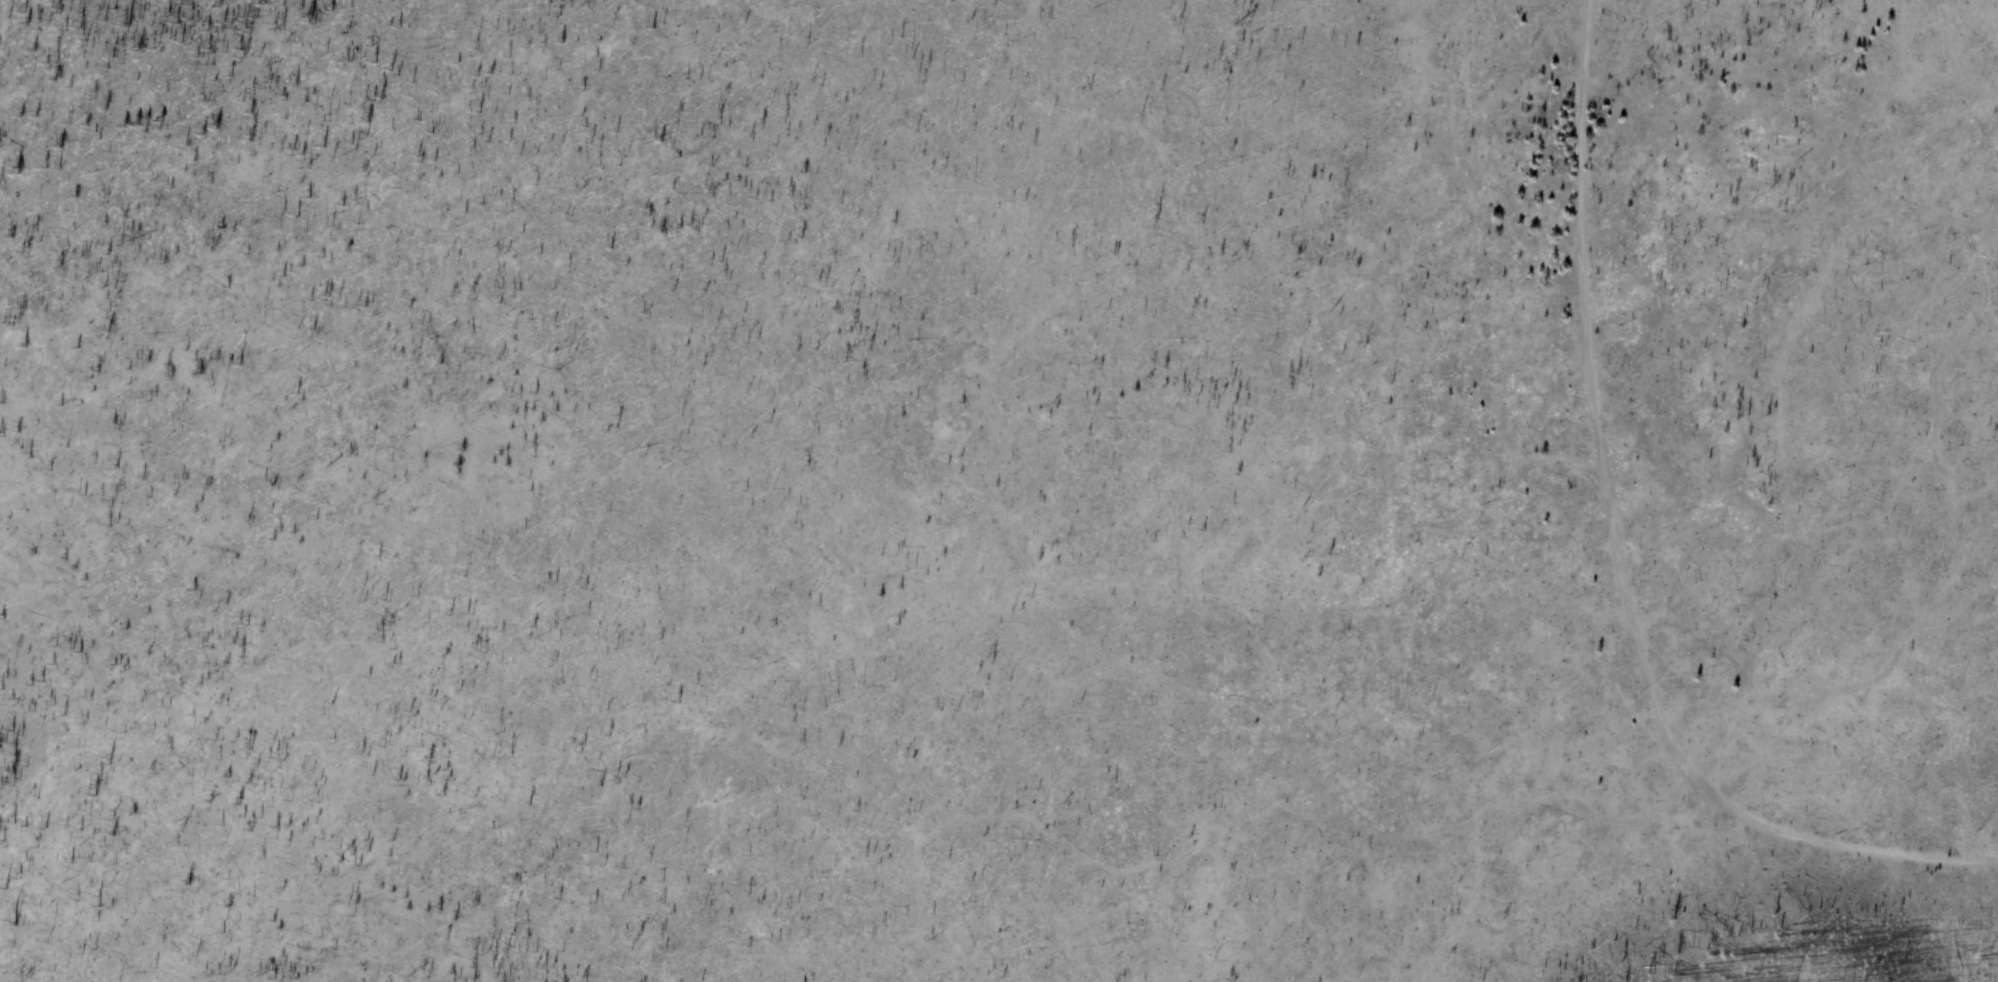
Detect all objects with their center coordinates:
road: (1954, 553)
road: (1617, 558)
road: (1220, 696)
road: (1097, 869)

